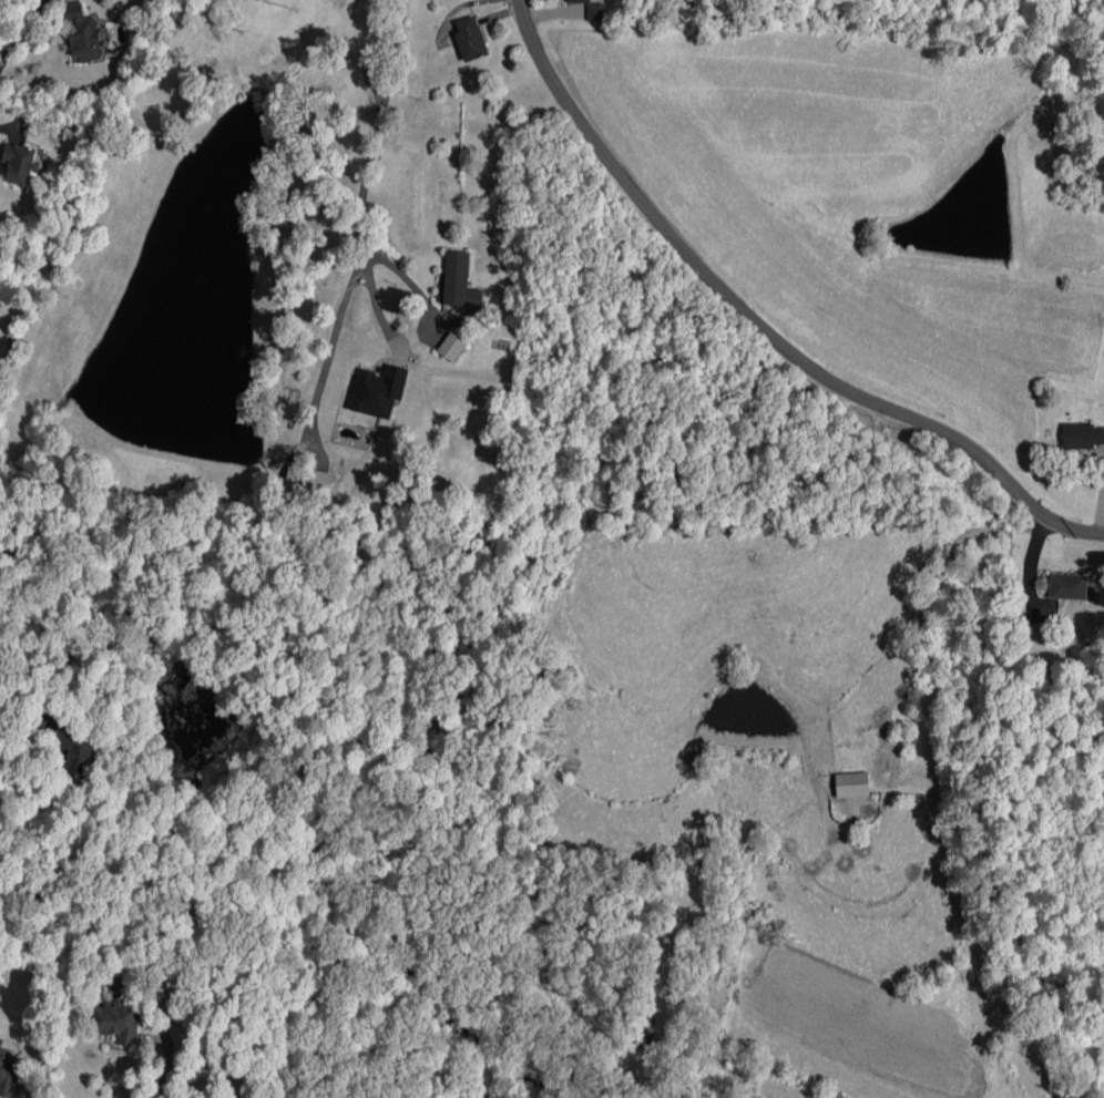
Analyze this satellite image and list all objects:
building: (592, 9)
road: (18, 25)
building: (83, 34)
building: (470, 38)
building: (371, 72)
road: (379, 123)
building: (19, 163)
building: (459, 281)
road: (759, 325)
road: (395, 338)
building: (451, 347)
building: (378, 390)
building: (1082, 435)
building: (306, 482)
road: (1032, 564)
building: (1067, 586)
building: (1040, 630)
road: (22, 711)
building: (74, 750)
building: (851, 784)
building: (117, 1020)
road: (168, 1063)
building: (7, 1075)

